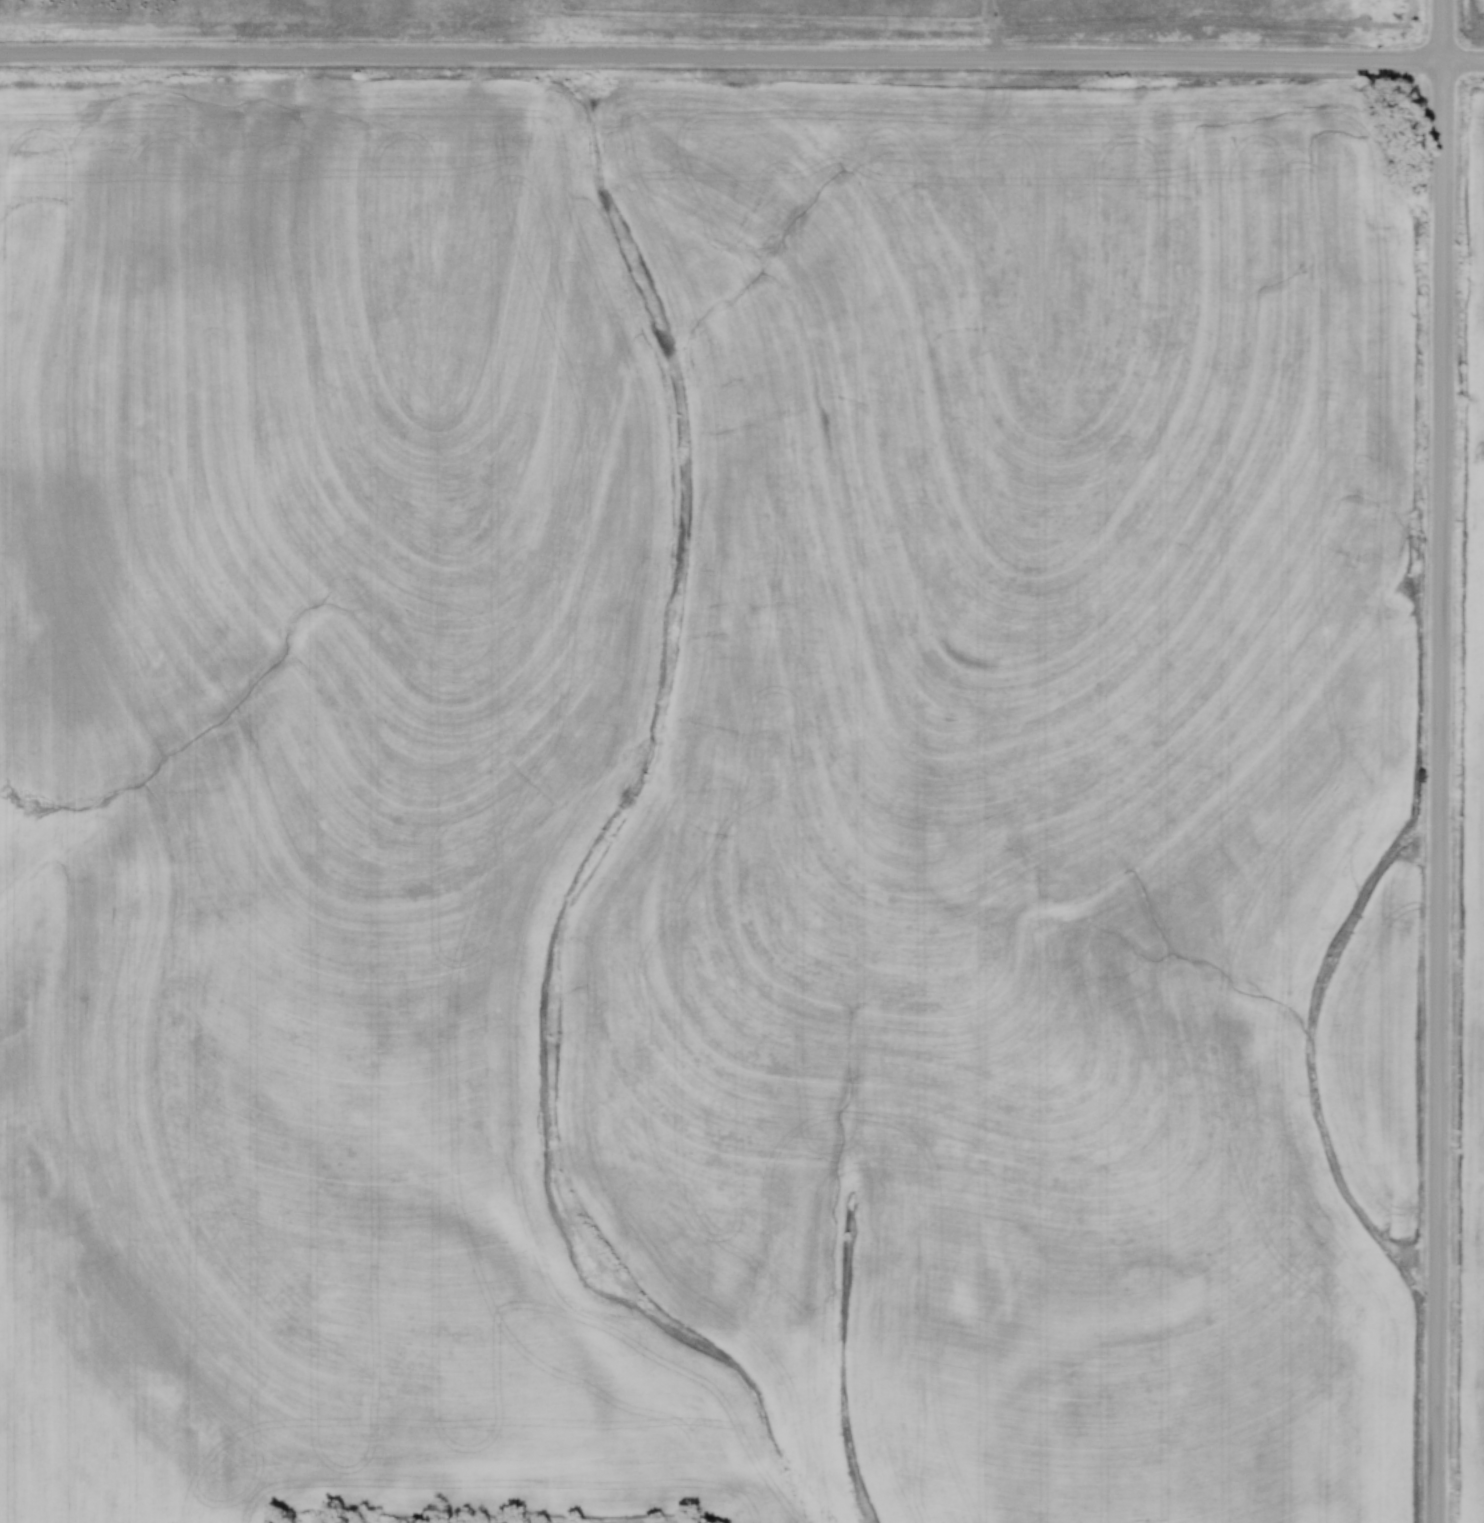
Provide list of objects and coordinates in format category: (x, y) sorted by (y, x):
road: (742, 58)
road: (1439, 761)

